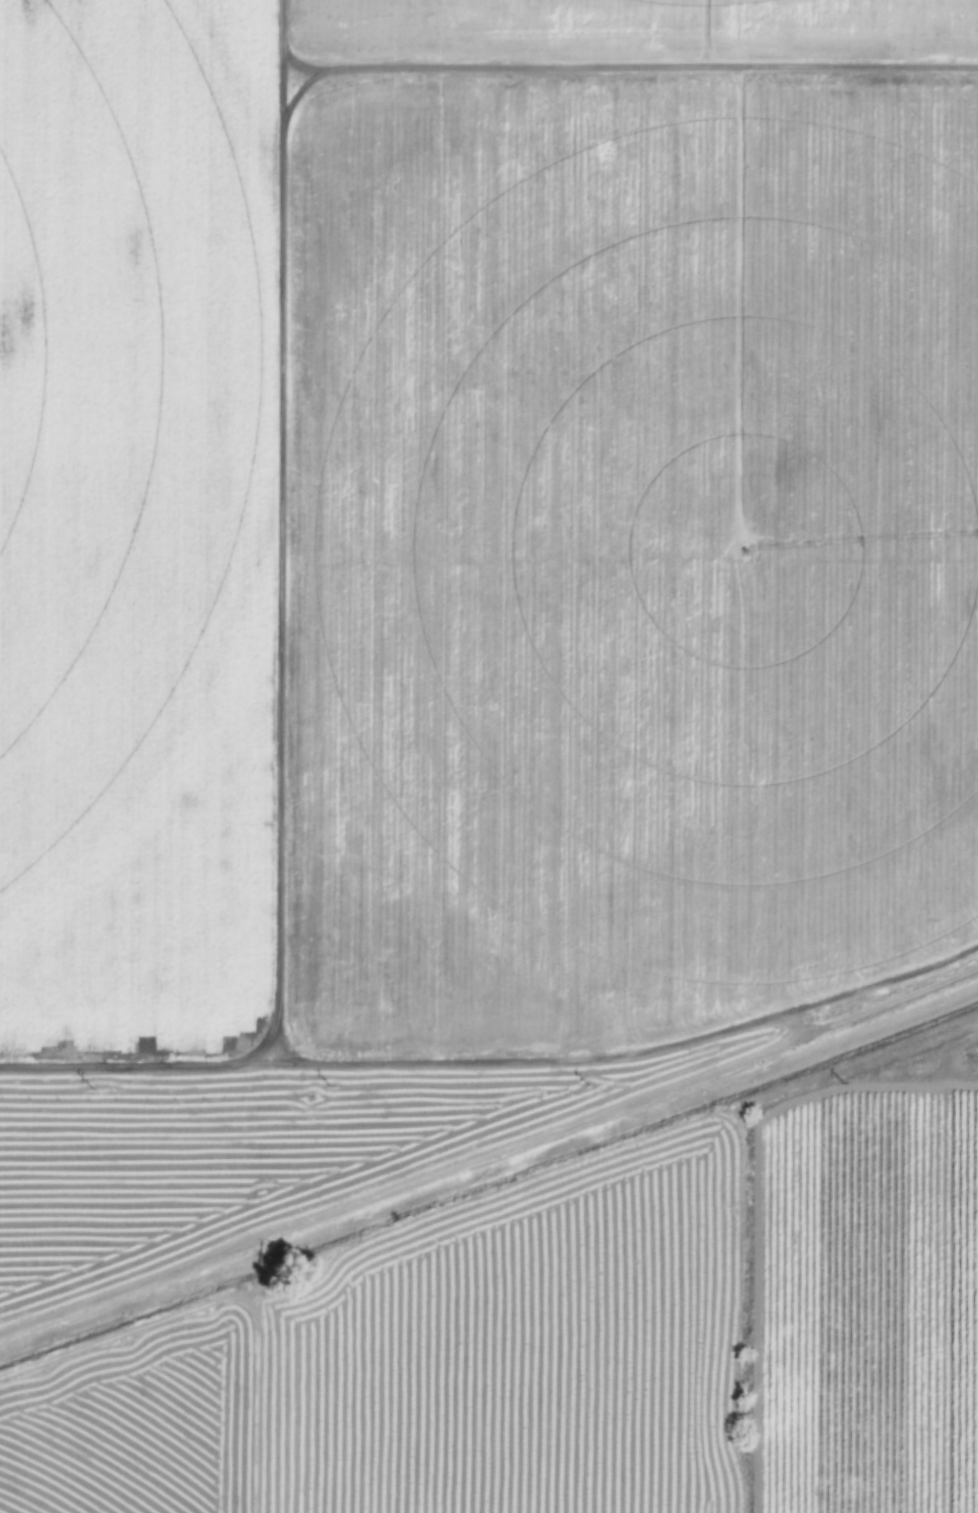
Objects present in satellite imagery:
road: (131, 1064)
road: (489, 1140)

